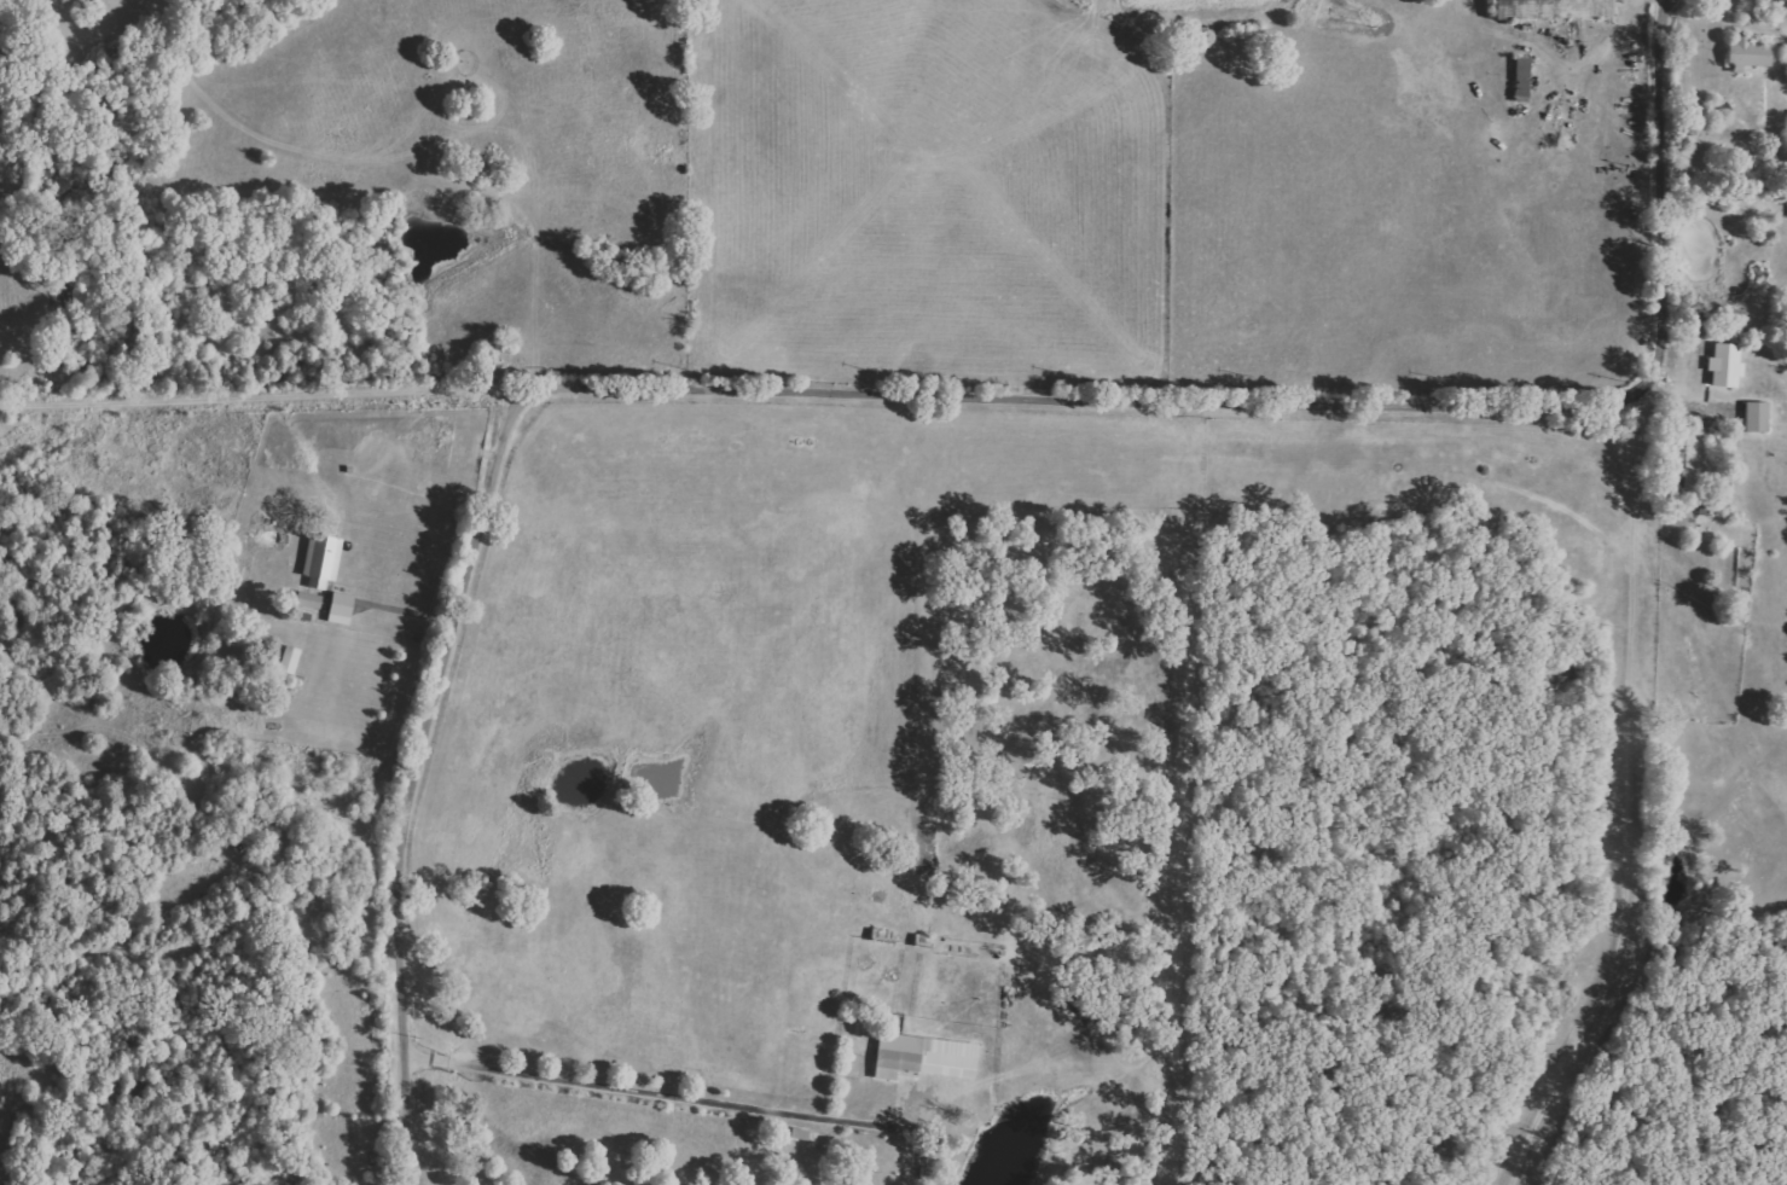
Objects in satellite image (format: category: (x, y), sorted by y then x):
building: (1551, 8)
building: (1750, 53)
building: (1786, 56)
building: (1522, 77)
building: (1725, 365)
road: (882, 394)
building: (1757, 417)
building: (1695, 460)
building: (323, 560)
building: (309, 600)
building: (341, 609)
building: (290, 660)
road: (1637, 798)
building: (924, 1056)
road: (655, 1093)
building: (239, 1184)

